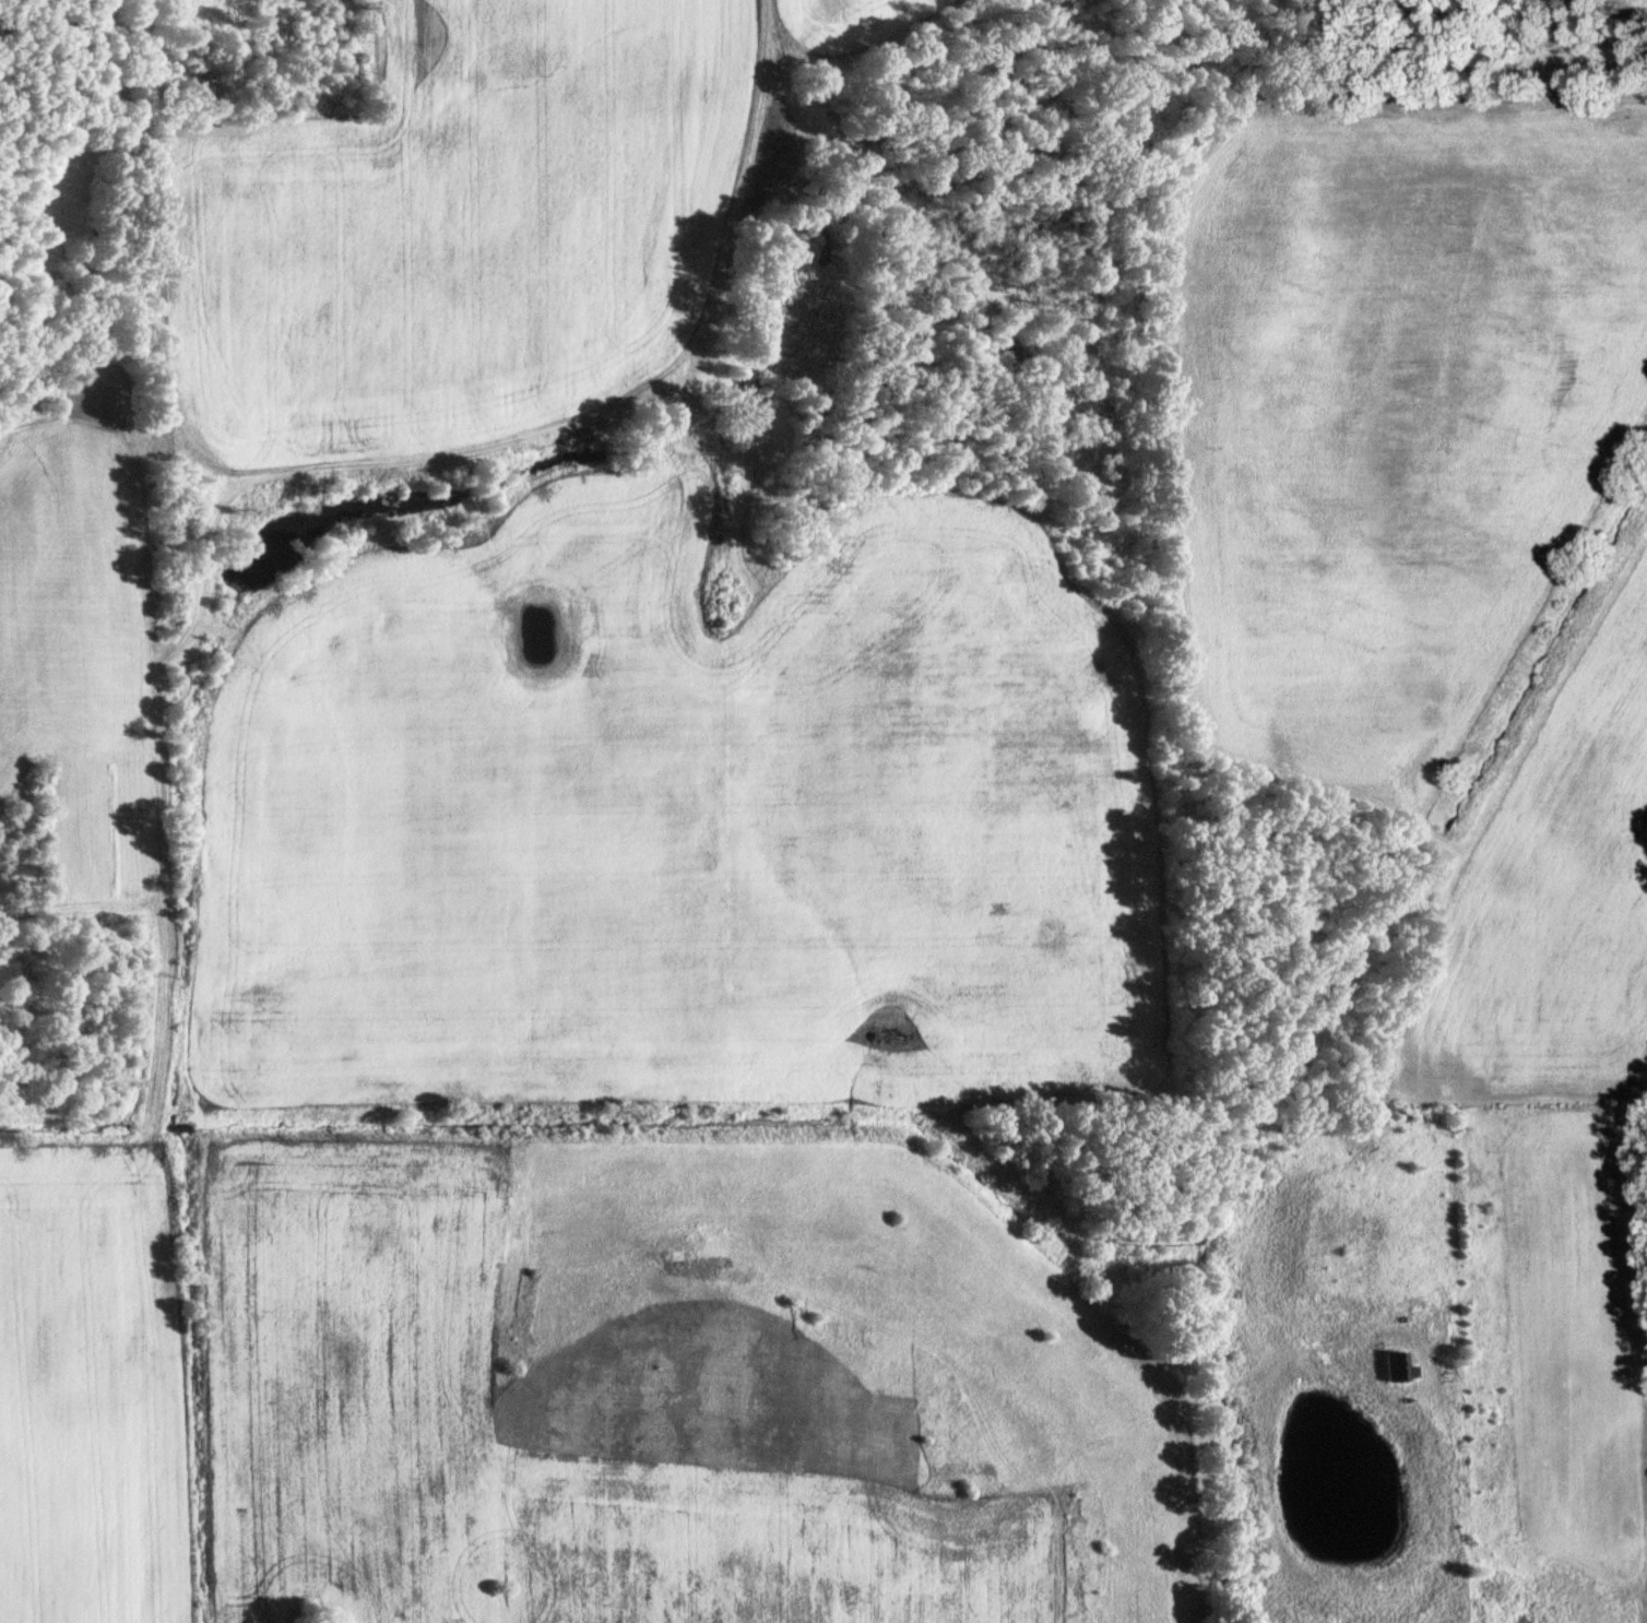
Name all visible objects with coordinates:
building: (1399, 1367)

